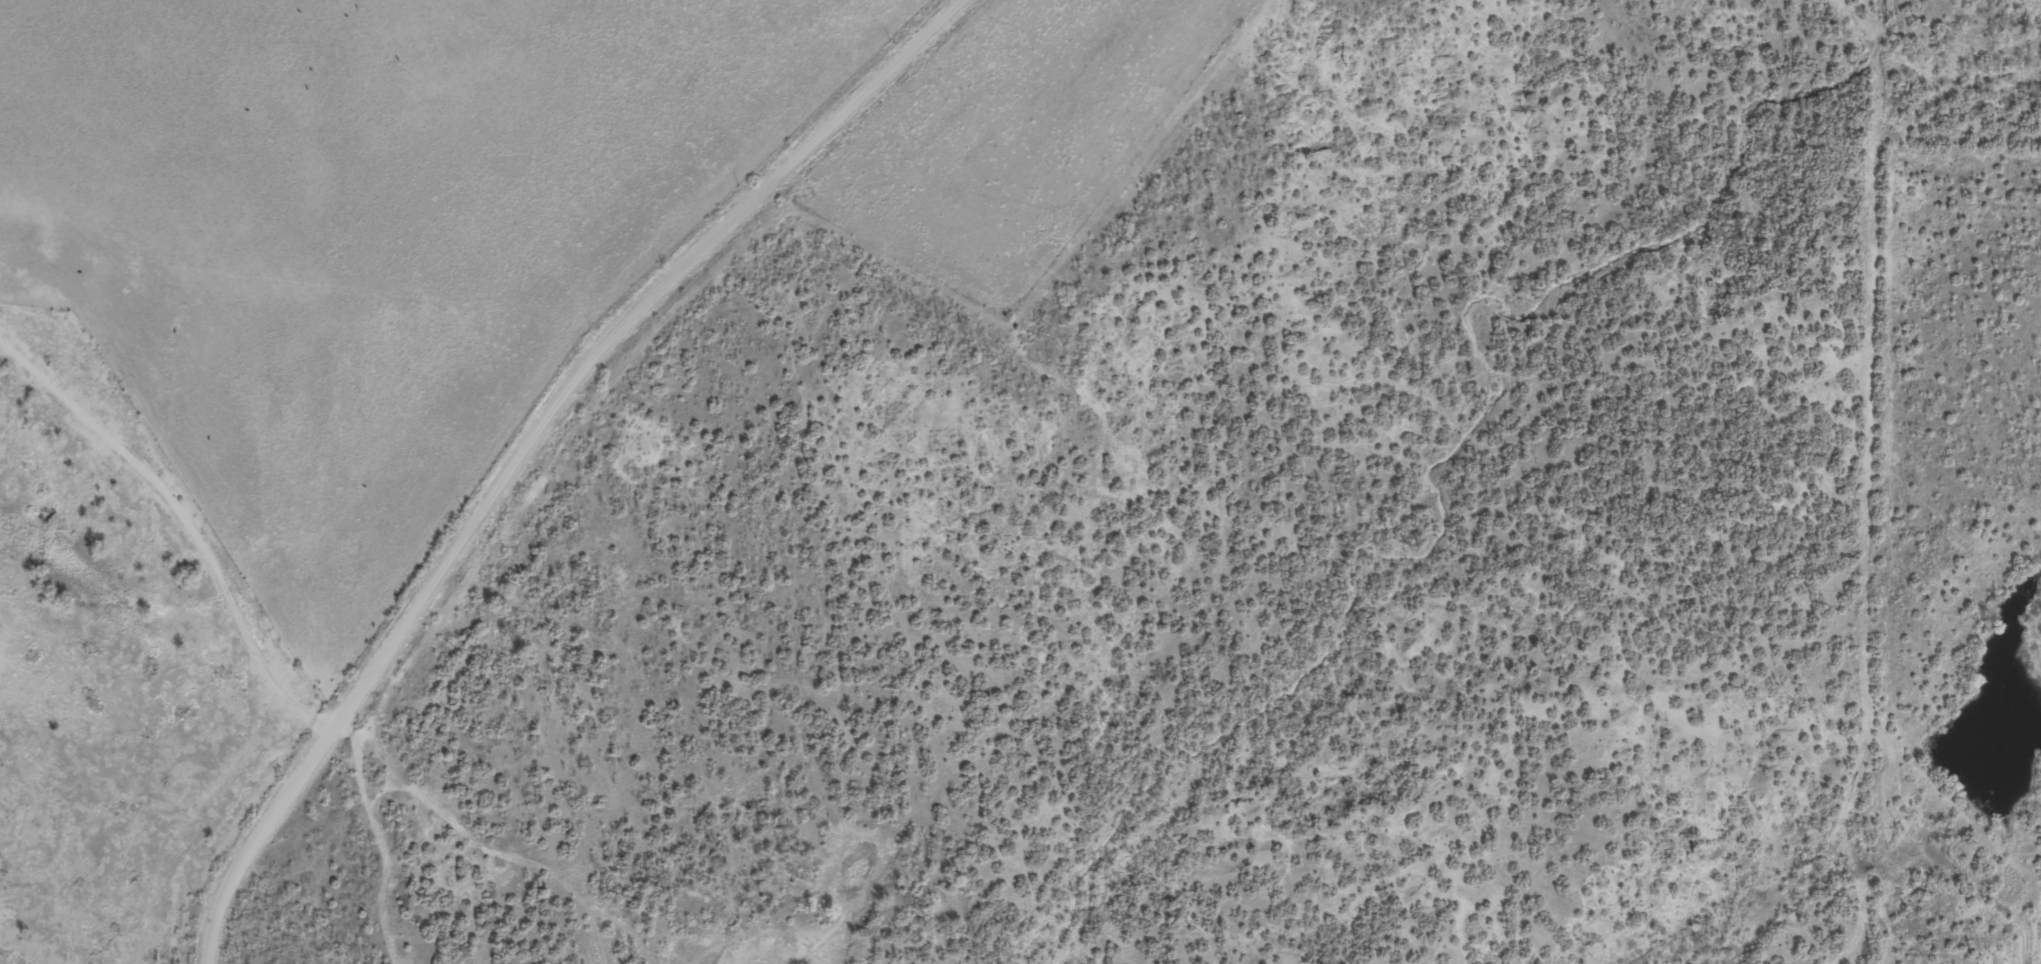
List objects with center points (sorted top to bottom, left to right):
road: (531, 440)
road: (226, 560)

